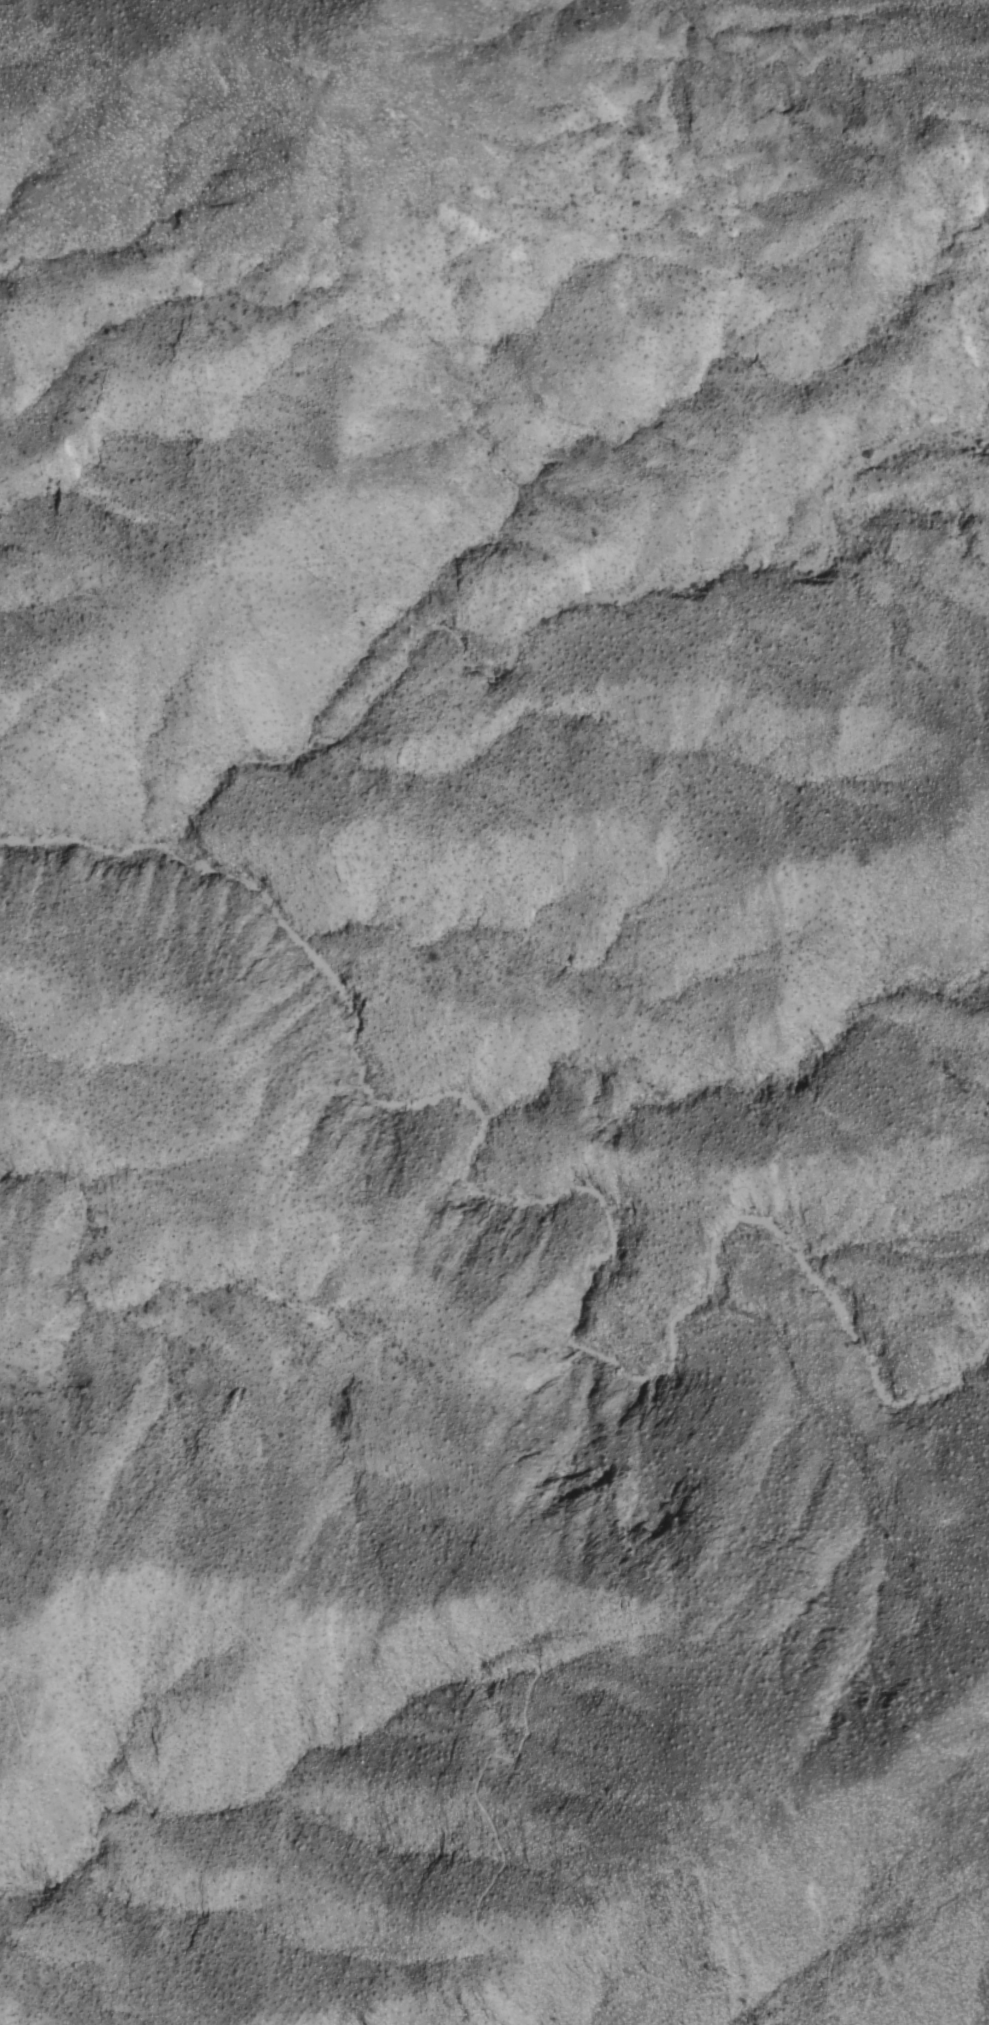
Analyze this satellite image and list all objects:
road: (90, 1714)
road: (477, 1795)

